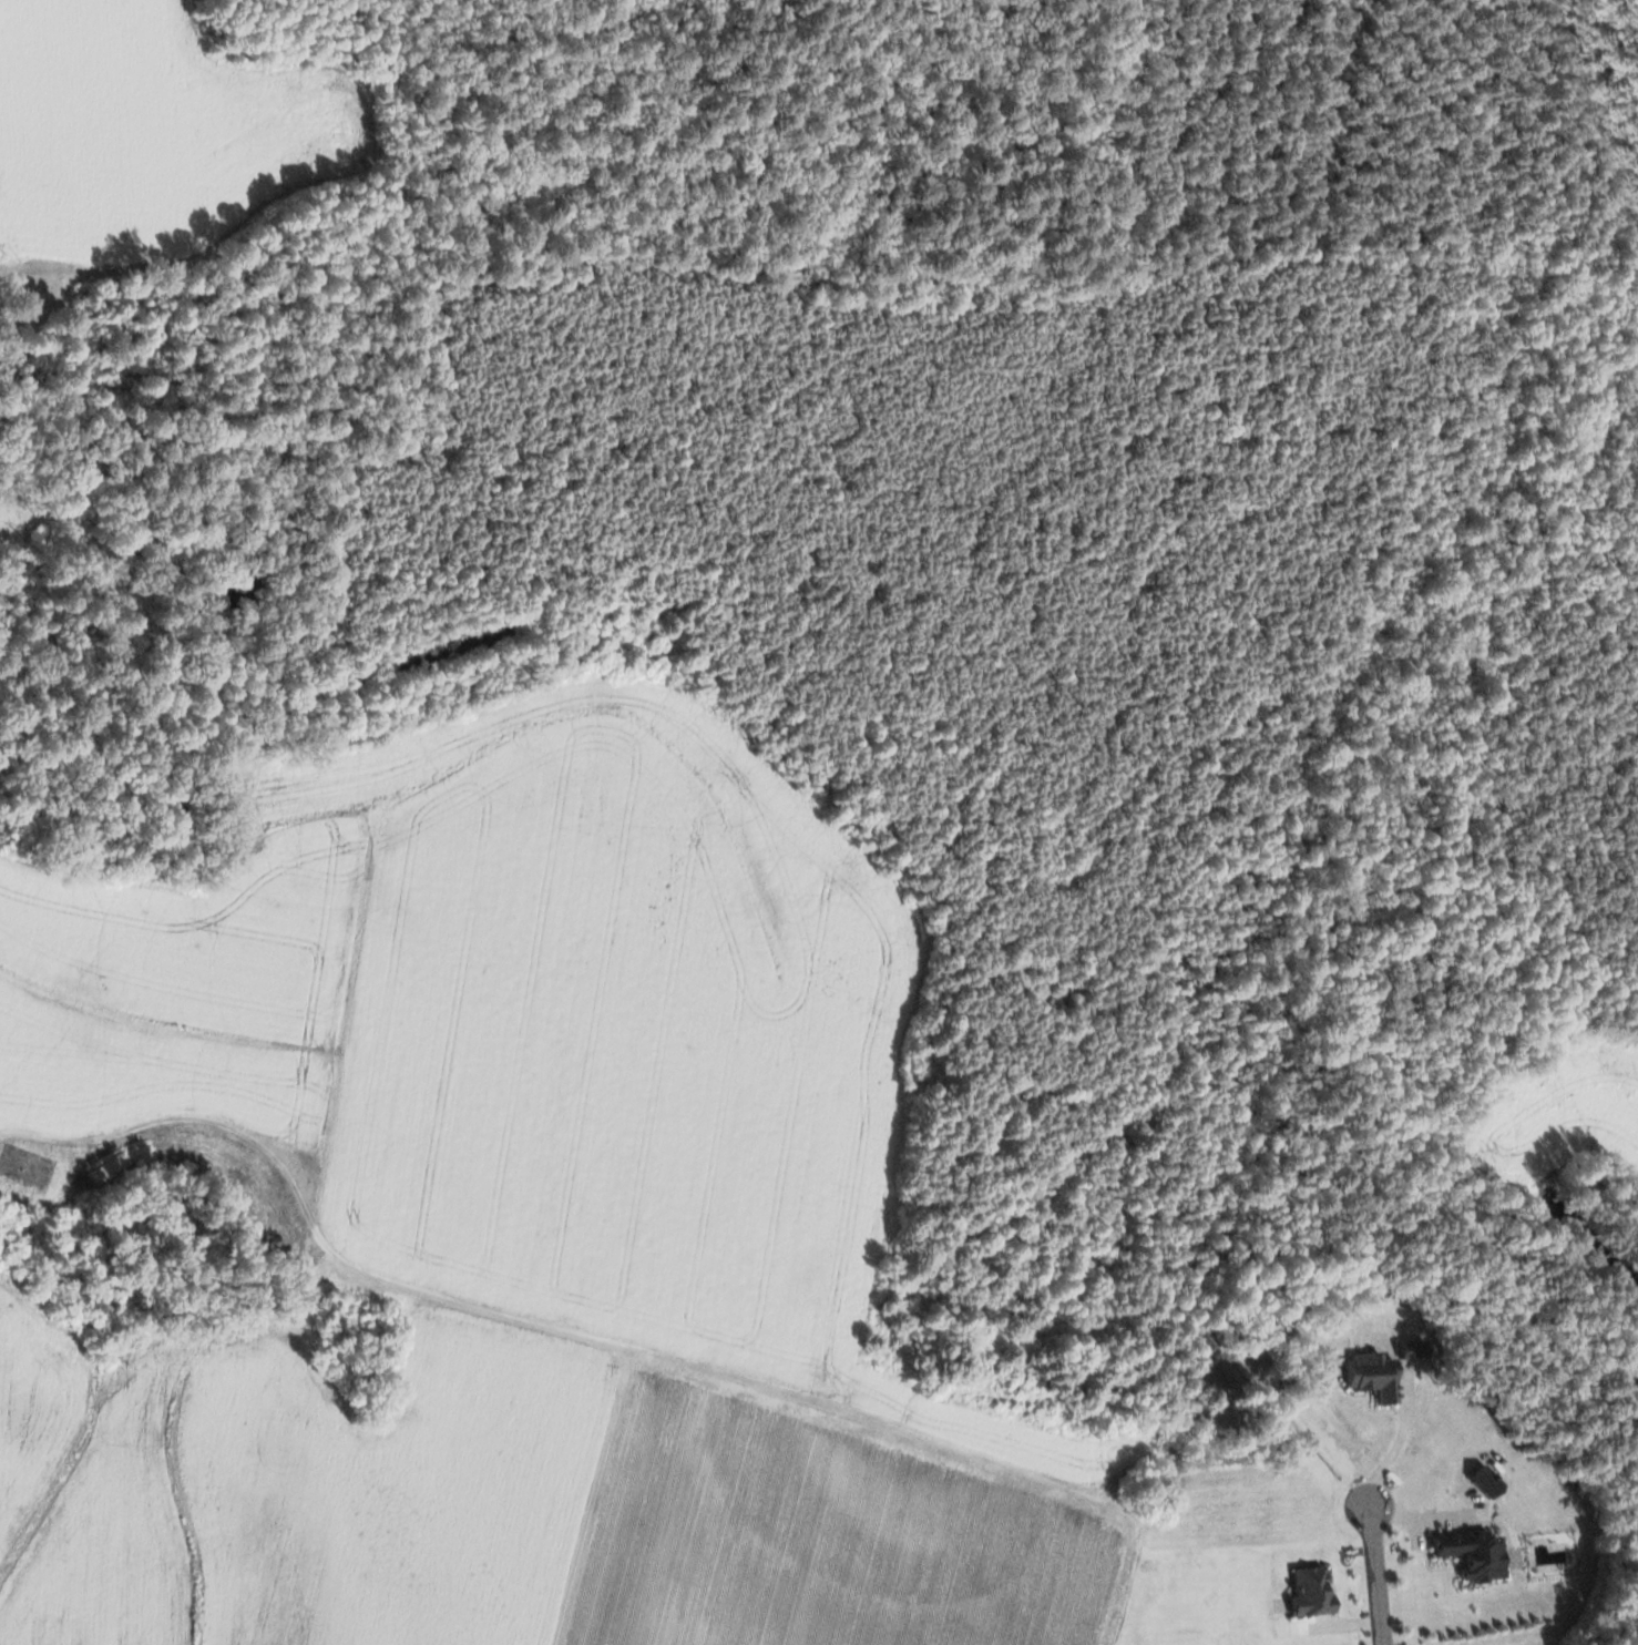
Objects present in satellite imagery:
building: (1370, 1378)
road: (1390, 1455)
building: (1491, 1561)
road: (1374, 1575)
building: (1308, 1594)

